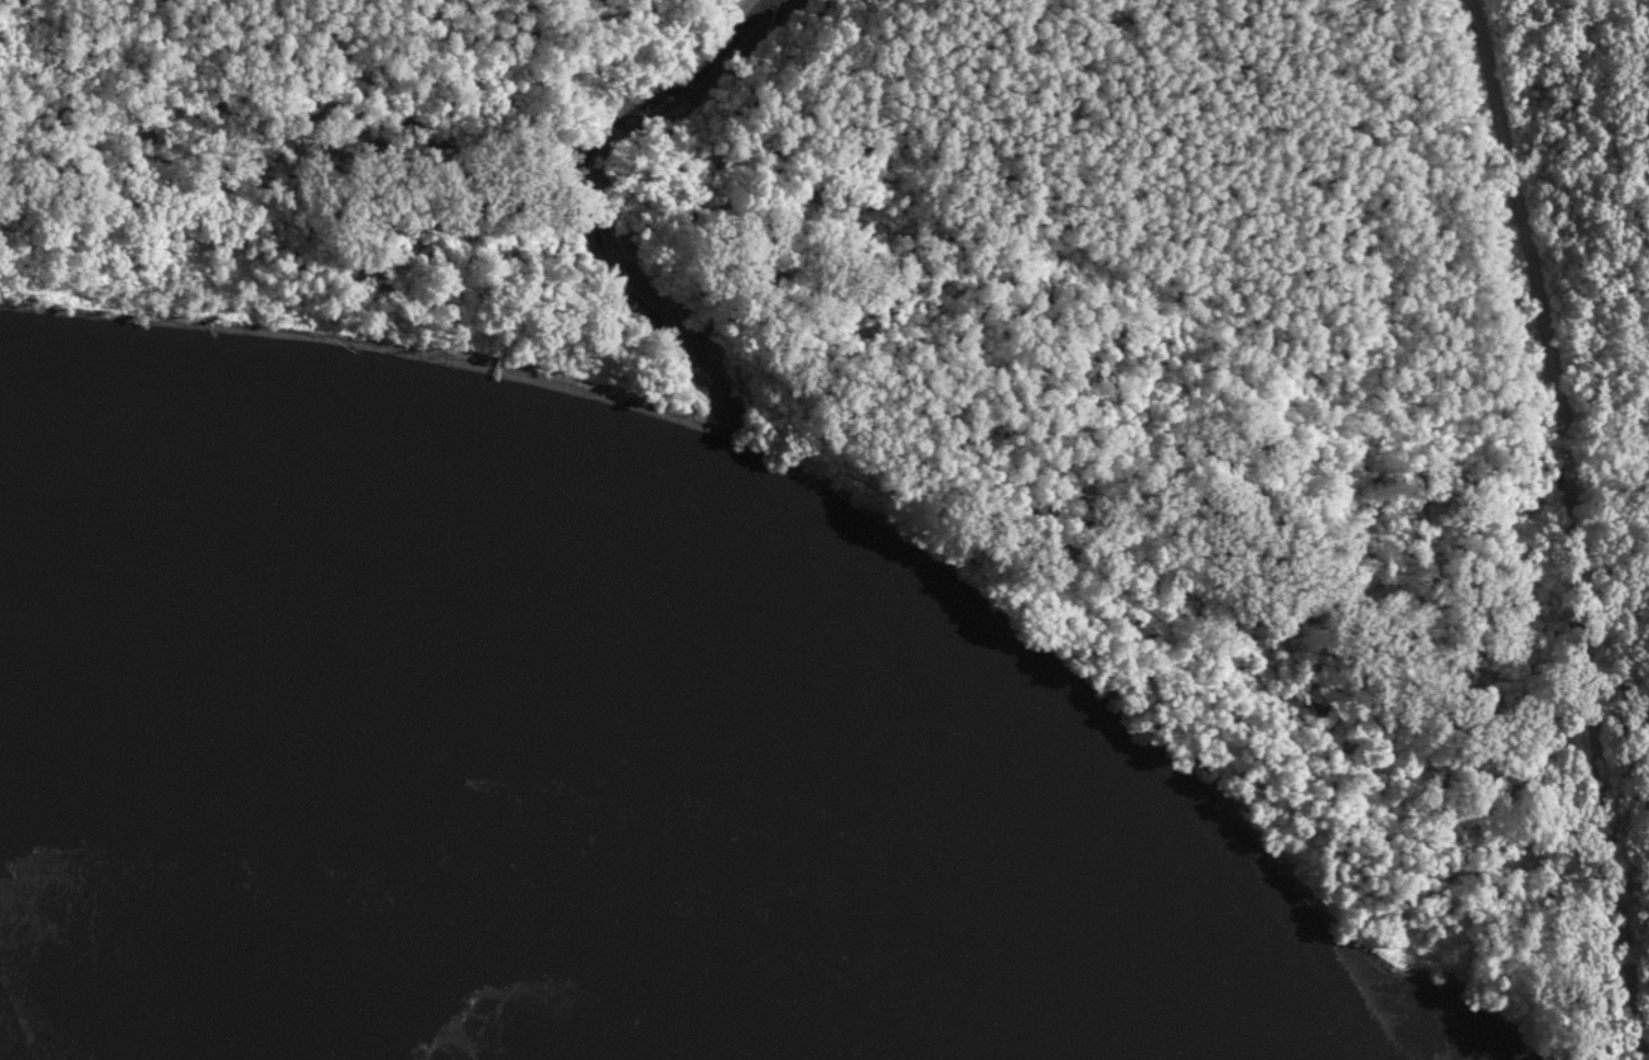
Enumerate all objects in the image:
road: (1571, 526)
river: (418, 873)

